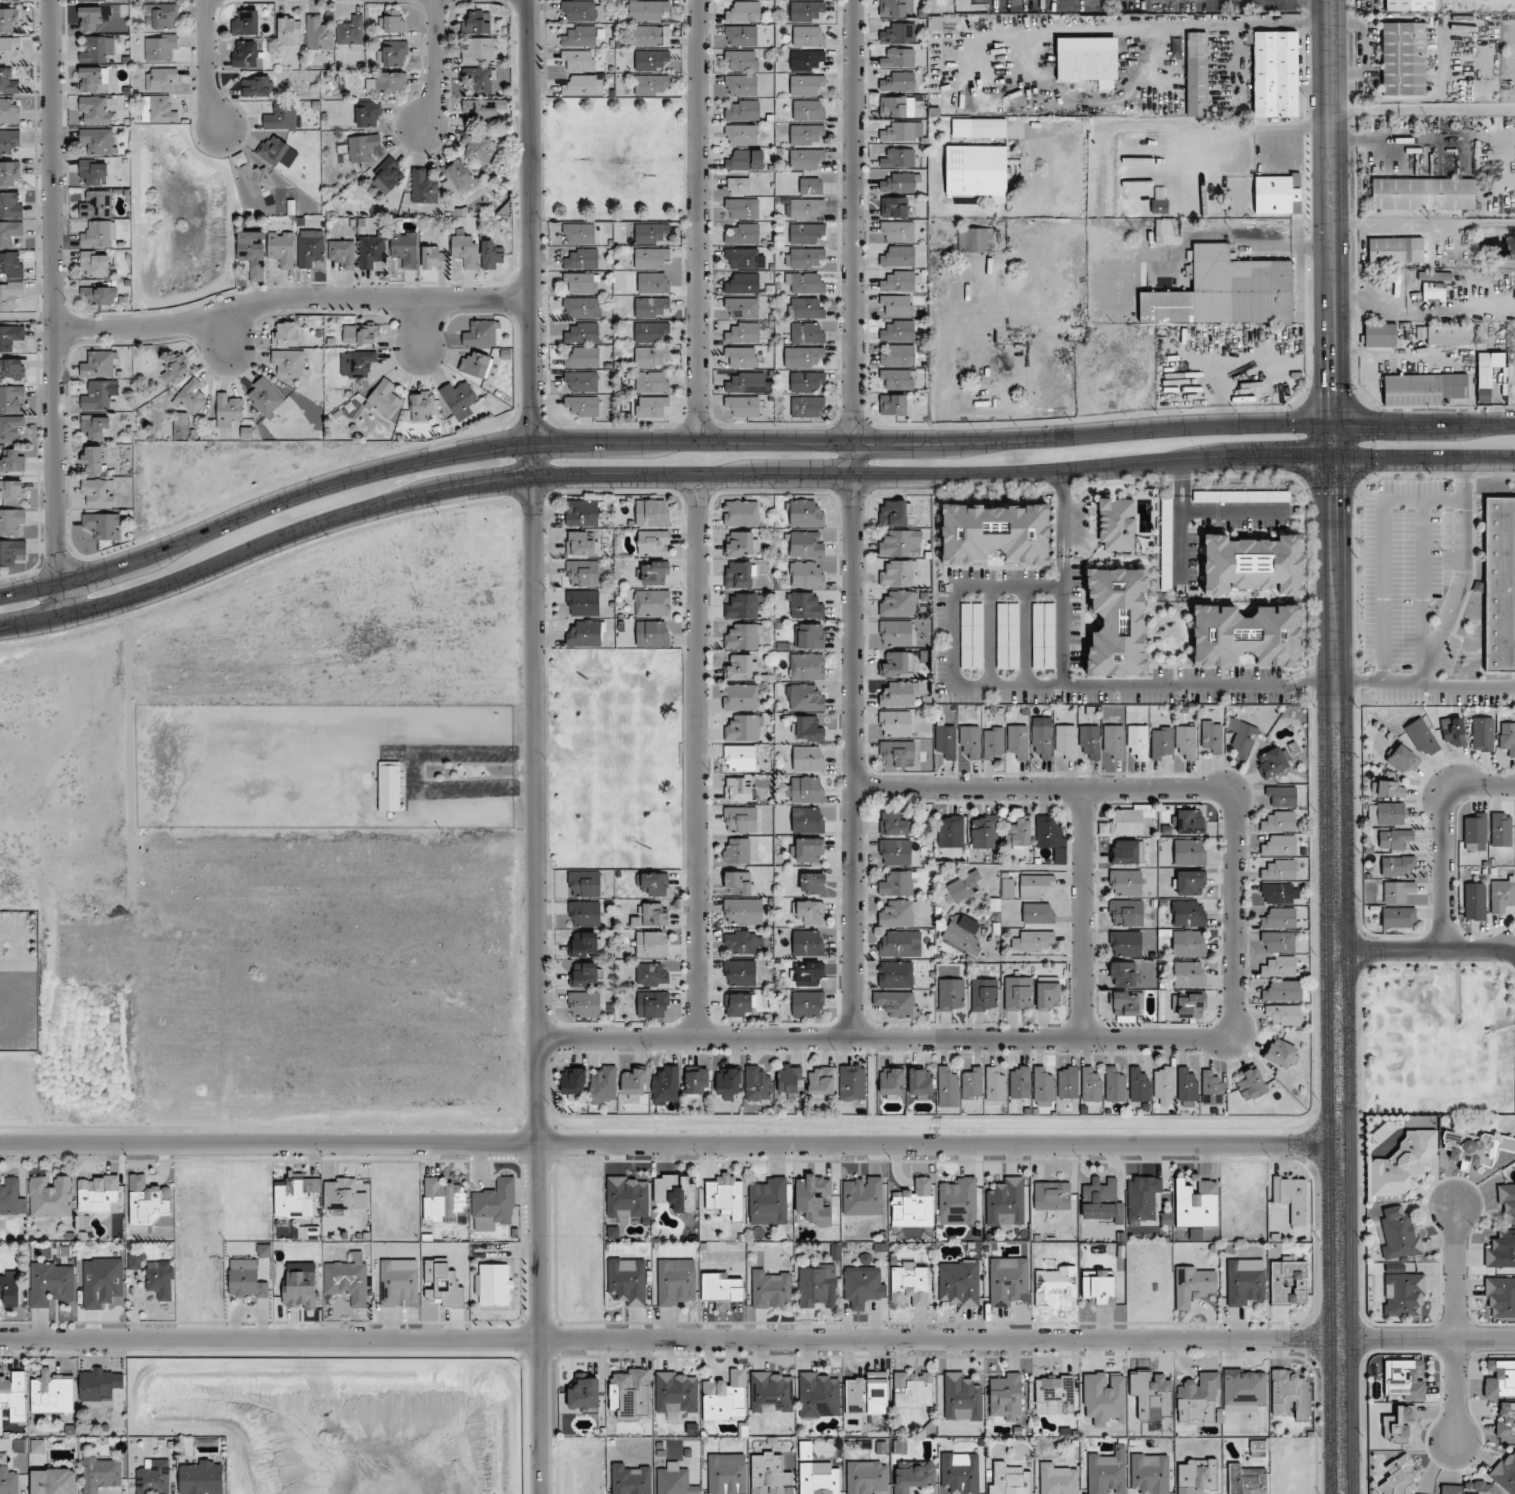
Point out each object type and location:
building: (10, 0)
building: (95, 0)
road: (1312, 1)
building: (1409, 5)
building: (896, 8)
building: (648, 10)
building: (581, 11)
building: (807, 11)
building: (744, 12)
building: (160, 16)
building: (90, 18)
building: (8, 19)
building: (392, 21)
building: (244, 22)
building: (478, 23)
building: (934, 23)
building: (290, 30)
building: (351, 32)
building: (318, 33)
building: (899, 33)
building: (740, 35)
building: (581, 36)
building: (651, 36)
building: (809, 36)
building: (161, 47)
building: (1176, 47)
building: (97, 49)
building: (9, 50)
building: (479, 51)
building: (244, 53)
building: (394, 53)
building: (898, 58)
building: (1404, 58)
building: (580, 60)
building: (651, 60)
building: (741, 60)
building: (807, 60)
building: (1088, 60)
road: (209, 65)
road: (438, 65)
building: (1197, 73)
building: (1276, 73)
building: (93, 79)
building: (161, 79)
building: (481, 79)
building: (7, 82)
building: (386, 82)
building: (899, 82)
building: (651, 84)
building: (740, 85)
building: (807, 85)
building: (260, 86)
building: (581, 86)
building: (896, 106)
road: (1421, 108)
building: (159, 109)
building: (482, 109)
building: (809, 109)
building: (9, 110)
building: (95, 110)
building: (744, 111)
building: (367, 114)
building: (281, 117)
road: (1252, 125)
building: (979, 128)
building: (903, 132)
building: (740, 134)
building: (807, 134)
road: (1390, 139)
building: (9, 140)
building: (98, 140)
building: (363, 146)
building: (477, 147)
building: (273, 149)
building: (898, 158)
park: (612, 159)
building: (806, 159)
building: (746, 160)
building: (977, 171)
building: (93, 172)
building: (10, 173)
building: (387, 176)
building: (457, 177)
building: (256, 179)
building: (901, 182)
building: (738, 185)
building: (423, 186)
building: (810, 186)
building: (1277, 193)
building: (1423, 193)
building: (11, 204)
building: (96, 204)
building: (894, 206)
building: (1159, 206)
building: (742, 208)
building: (803, 208)
road: (698, 221)
building: (897, 231)
building: (650, 232)
building: (10, 233)
building: (578, 233)
building: (807, 233)
building: (99, 234)
building: (743, 234)
building: (975, 239)
building: (310, 247)
building: (404, 248)
building: (281, 249)
building: (371, 250)
building: (465, 250)
building: (1396, 250)
building: (252, 253)
building: (342, 253)
building: (491, 256)
building: (434, 257)
building: (650, 257)
building: (899, 257)
building: (744, 258)
building: (805, 258)
building: (582, 259)
building: (94, 263)
building: (11, 264)
building: (1434, 275)
building: (899, 281)
building: (653, 282)
building: (805, 282)
building: (580, 283)
building: (743, 283)
building: (1225, 291)
building: (1434, 292)
building: (10, 294)
building: (98, 294)
road: (292, 300)
building: (897, 305)
building: (649, 306)
road: (55, 308)
building: (581, 308)
building: (742, 308)
building: (807, 308)
building: (899, 331)
building: (649, 332)
building: (807, 332)
building: (359, 333)
building: (582, 333)
building: (743, 333)
building: (286, 334)
building: (480, 334)
building: (1448, 334)
building: (1380, 335)
building: (10, 337)
building: (899, 355)
building: (649, 356)
building: (742, 356)
building: (805, 356)
building: (583, 357)
building: (291, 363)
building: (357, 363)
building: (98, 364)
building: (476, 364)
building: (12, 368)
building: (899, 379)
building: (581, 381)
building: (652, 381)
building: (805, 381)
building: (747, 382)
traffic signals: (1332, 387)
building: (1423, 388)
building: (1483, 390)
building: (100, 395)
building: (192, 397)
building: (265, 397)
building: (10, 398)
building: (384, 399)
building: (460, 399)
building: (893, 404)
building: (583, 405)
building: (744, 405)
building: (420, 406)
building: (652, 406)
building: (807, 406)
building: (229, 409)
traffic signals: (1380, 423)
building: (180, 425)
building: (10, 427)
building: (95, 427)
road: (745, 442)
traffic signals: (1288, 457)
building: (13, 460)
building: (92, 460)
road: (746, 478)
building: (12, 489)
building: (97, 492)
traffic signals: (1333, 498)
road: (1063, 507)
building: (582, 512)
building: (652, 512)
building: (894, 512)
building: (741, 513)
building: (803, 513)
road: (852, 519)
building: (11, 520)
building: (103, 525)
building: (582, 543)
building: (653, 543)
building: (741, 543)
building: (901, 543)
building: (805, 544)
road: (1061, 548)
road: (1066, 548)
road: (1383, 549)
building: (11, 552)
road: (1061, 561)
road: (1065, 561)
road: (533, 572)
building: (654, 572)
road: (1462, 572)
building: (583, 573)
building: (898, 573)
building: (739, 574)
building: (806, 574)
road: (960, 588)
road: (1422, 589)
building: (582, 603)
building: (652, 603)
building: (899, 604)
building: (805, 605)
building: (744, 606)
road: (1064, 626)
building: (652, 633)
building: (895, 633)
building: (585, 634)
building: (811, 636)
road: (990, 636)
road: (1026, 636)
building: (744, 637)
building: (897, 663)
building: (807, 666)
building: (741, 667)
road: (1312, 675)
road: (1425, 681)
road: (1123, 685)
building: (899, 694)
building: (740, 697)
building: (804, 698)
building: (895, 724)
building: (744, 728)
building: (807, 729)
building: (1453, 730)
building: (1483, 735)
building: (1211, 737)
building: (1507, 737)
building: (1243, 738)
building: (1422, 738)
building: (946, 740)
building: (970, 740)
building: (1018, 740)
building: (1042, 740)
building: (1090, 740)
building: (1114, 740)
building: (1138, 740)
building: (1066, 741)
building: (1186, 741)
building: (993, 743)
building: (1161, 743)
road: (1335, 746)
road: (396, 748)
road: (474, 749)
building: (897, 753)
park: (617, 758)
road: (699, 758)
building: (739, 758)
building: (808, 758)
building: (1402, 760)
building: (1272, 761)
road: (413, 771)
building: (389, 786)
road: (1041, 788)
building: (739, 789)
building: (805, 789)
building: (1391, 789)
road: (473, 793)
building: (1282, 796)
building: (1386, 813)
building: (740, 820)
building: (807, 820)
building: (1129, 820)
building: (1190, 821)
building: (1280, 822)
building: (893, 824)
building: (1501, 829)
building: (1474, 830)
building: (950, 831)
building: (983, 832)
building: (1049, 832)
building: (1018, 833)
road: (1442, 833)
building: (1394, 839)
building: (1281, 845)
building: (807, 850)
building: (736, 851)
building: (895, 852)
building: (1127, 852)
building: (1189, 852)
building: (1397, 865)
building: (1280, 870)
building: (1189, 882)
building: (584, 883)
building: (737, 883)
building: (812, 883)
building: (1125, 883)
building: (654, 884)
building: (897, 884)
building: (1037, 886)
building: (962, 888)
building: (1397, 891)
building: (1279, 893)
building: (1502, 894)
building: (1475, 901)
building: (743, 912)
building: (808, 912)
building: (584, 913)
building: (1038, 913)
road: (1080, 913)
building: (1126, 913)
building: (1189, 913)
road: (1232, 913)
building: (653, 914)
building: (898, 914)
building: (1399, 917)
building: (1280, 918)
road: (14, 933)
building: (963, 938)
building: (1032, 941)
building: (1278, 941)
building: (743, 942)
building: (808, 942)
building: (584, 943)
building: (652, 943)
building: (1125, 943)
building: (1189, 943)
building: (900, 944)
road: (16, 949)
road: (1426, 953)
road: (16, 965)
building: (1280, 966)
building: (739, 973)
building: (586, 974)
building: (651, 974)
building: (807, 974)
building: (1123, 974)
building: (1189, 974)
building: (895, 975)
building: (1283, 991)
building: (1018, 993)
building: (1048, 993)
building: (951, 994)
building: (984, 995)
building: (896, 1003)
building: (1127, 1003)
building: (739, 1004)
building: (807, 1004)
building: (584, 1005)
building: (652, 1005)
building: (1190, 1005)
building: (1284, 1014)
park: (1435, 1037)
road: (884, 1038)
building: (1281, 1052)
building: (789, 1078)
building: (1019, 1081)
building: (696, 1082)
building: (821, 1082)
building: (1068, 1082)
building: (573, 1083)
building: (633, 1083)
building: (727, 1083)
building: (891, 1083)
building: (971, 1083)
building: (920, 1084)
building: (1114, 1084)
building: (666, 1085)
building: (853, 1085)
building: (995, 1085)
building: (1091, 1085)
building: (1163, 1085)
building: (1253, 1085)
building: (604, 1086)
building: (757, 1086)
building: (1139, 1086)
building: (1187, 1086)
building: (947, 1088)
building: (1043, 1088)
building: (1211, 1088)
road: (670, 1145)
building: (1475, 1148)
building: (1403, 1166)
building: (675, 1192)
building: (98, 1194)
building: (344, 1195)
building: (862, 1195)
building: (1052, 1195)
building: (51, 1196)
building: (627, 1196)
building: (725, 1196)
building: (1142, 1196)
building: (11, 1197)
building: (1292, 1197)
building: (814, 1198)
building: (292, 1199)
building: (148, 1200)
building: (442, 1200)
building: (1101, 1200)
building: (768, 1201)
building: (1006, 1203)
building: (493, 1204)
building: (913, 1204)
building: (1196, 1204)
building: (1399, 1233)
building: (1501, 1250)
building: (134, 1261)
building: (159, 1279)
building: (348, 1279)
building: (246, 1280)
building: (627, 1280)
building: (1007, 1280)
building: (398, 1281)
building: (1245, 1281)
building: (51, 1282)
building: (675, 1282)
building: (959, 1282)
building: (494, 1285)
building: (817, 1286)
building: (910, 1286)
building: (863, 1287)
building: (771, 1288)
building: (1099, 1288)
building: (10, 1289)
building: (721, 1289)
building: (1403, 1292)
building: (1499, 1298)
road: (538, 1319)
road: (1457, 1326)
road: (757, 1341)
building: (1403, 1379)
building: (1500, 1379)
building: (99, 1383)
building: (913, 1390)
building: (676, 1391)
building: (772, 1391)
building: (1289, 1391)
building: (52, 1394)
building: (584, 1394)
building: (868, 1394)
building: (1054, 1394)
building: (818, 1395)
building: (725, 1397)
building: (1006, 1397)
building: (962, 1398)
building: (1198, 1399)
building: (1505, 1419)
building: (1399, 1425)
building: (37, 1446)
building: (1259, 1447)
building: (805, 1449)
building: (1106, 1471)
building: (960, 1472)
building: (101, 1473)
building: (1150, 1473)
building: (1506, 1473)
building: (727, 1474)
building: (913, 1476)
building: (1196, 1476)
building: (1397, 1476)
building: (153, 1477)
building: (202, 1477)
building: (867, 1477)
building: (631, 1478)
building: (8, 1479)
building: (819, 1479)
building: (1008, 1479)
building: (1057, 1479)
building: (1247, 1479)
building: (673, 1480)
building: (54, 1481)
building: (1467, 1488)

